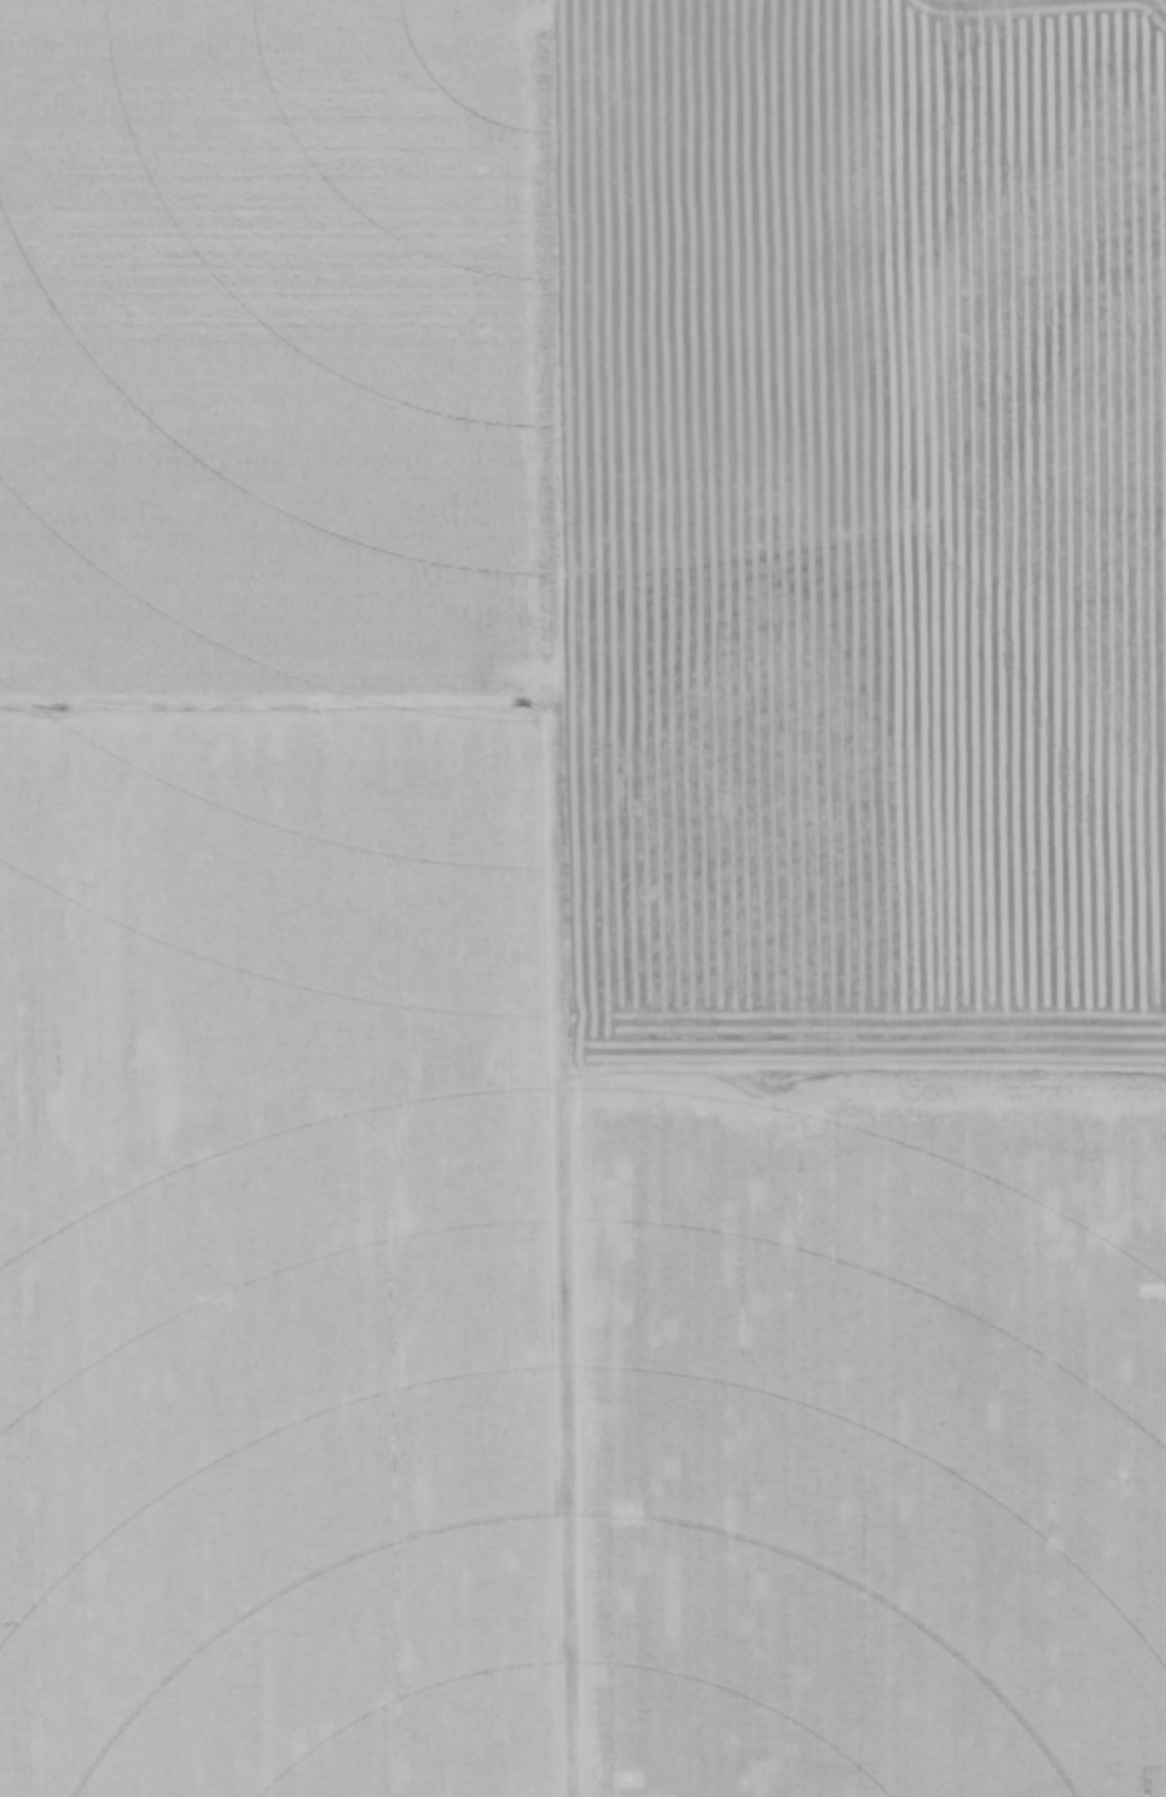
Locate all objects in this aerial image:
crop: (582, 898)

